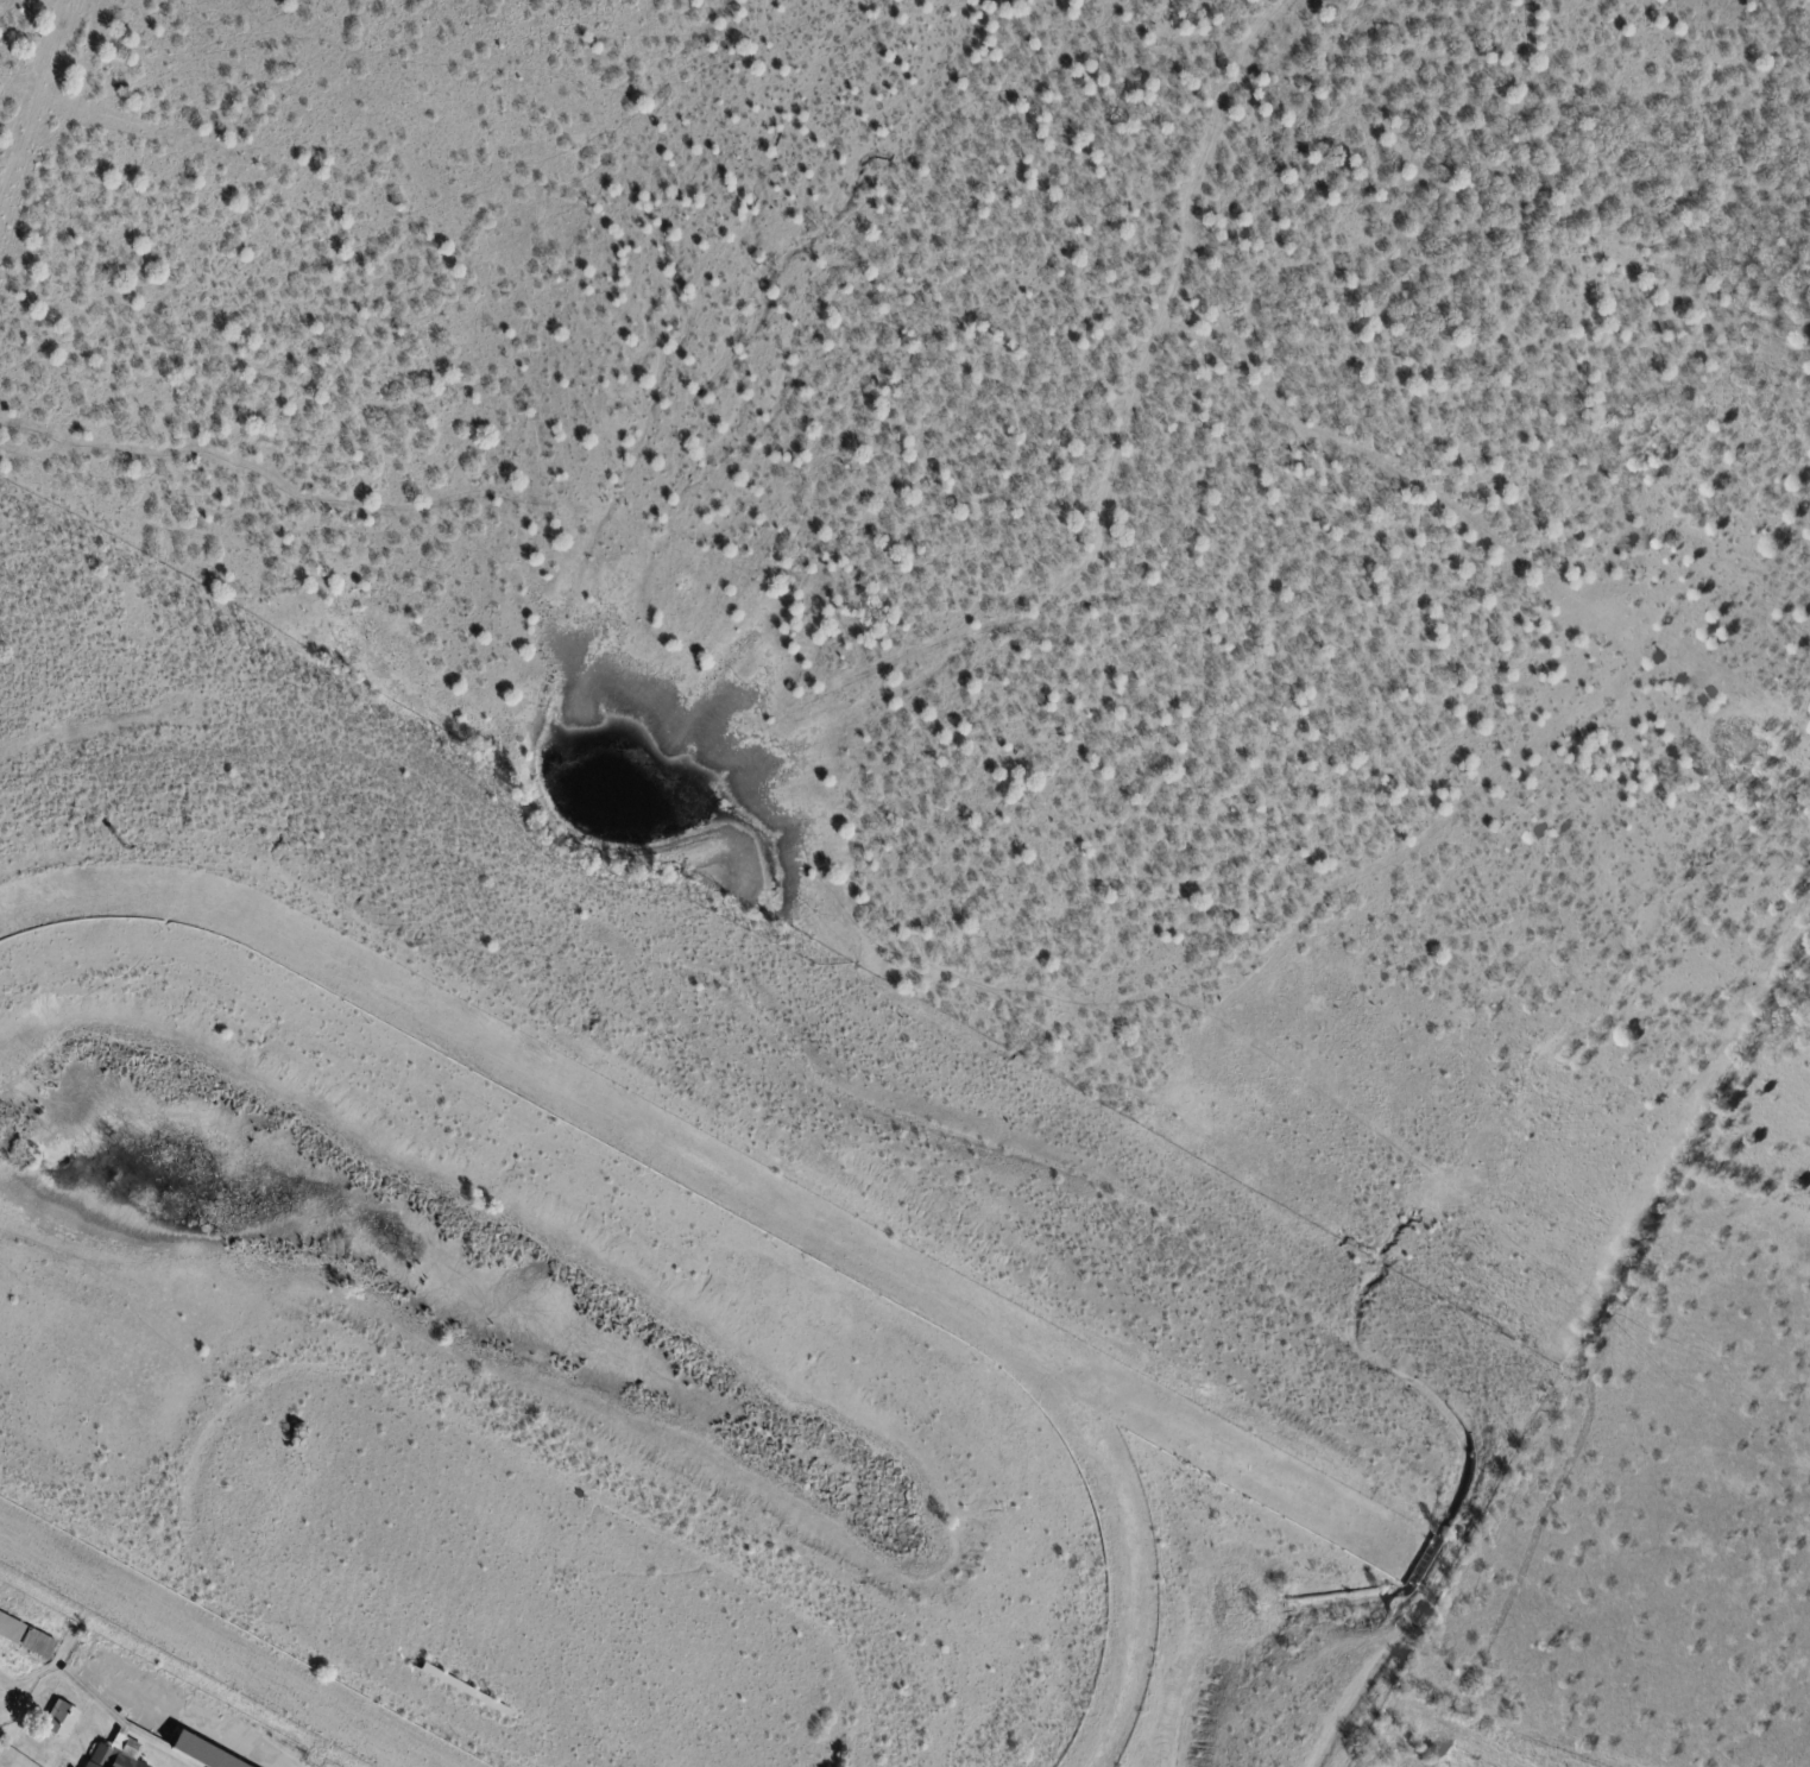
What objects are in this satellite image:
track: (718, 1173)
track: (1137, 1561)
building: (12, 1629)
building: (40, 1645)
track: (215, 1647)
building: (463, 1690)
building: (63, 1721)
building: (147, 1741)
building: (1, 1744)

